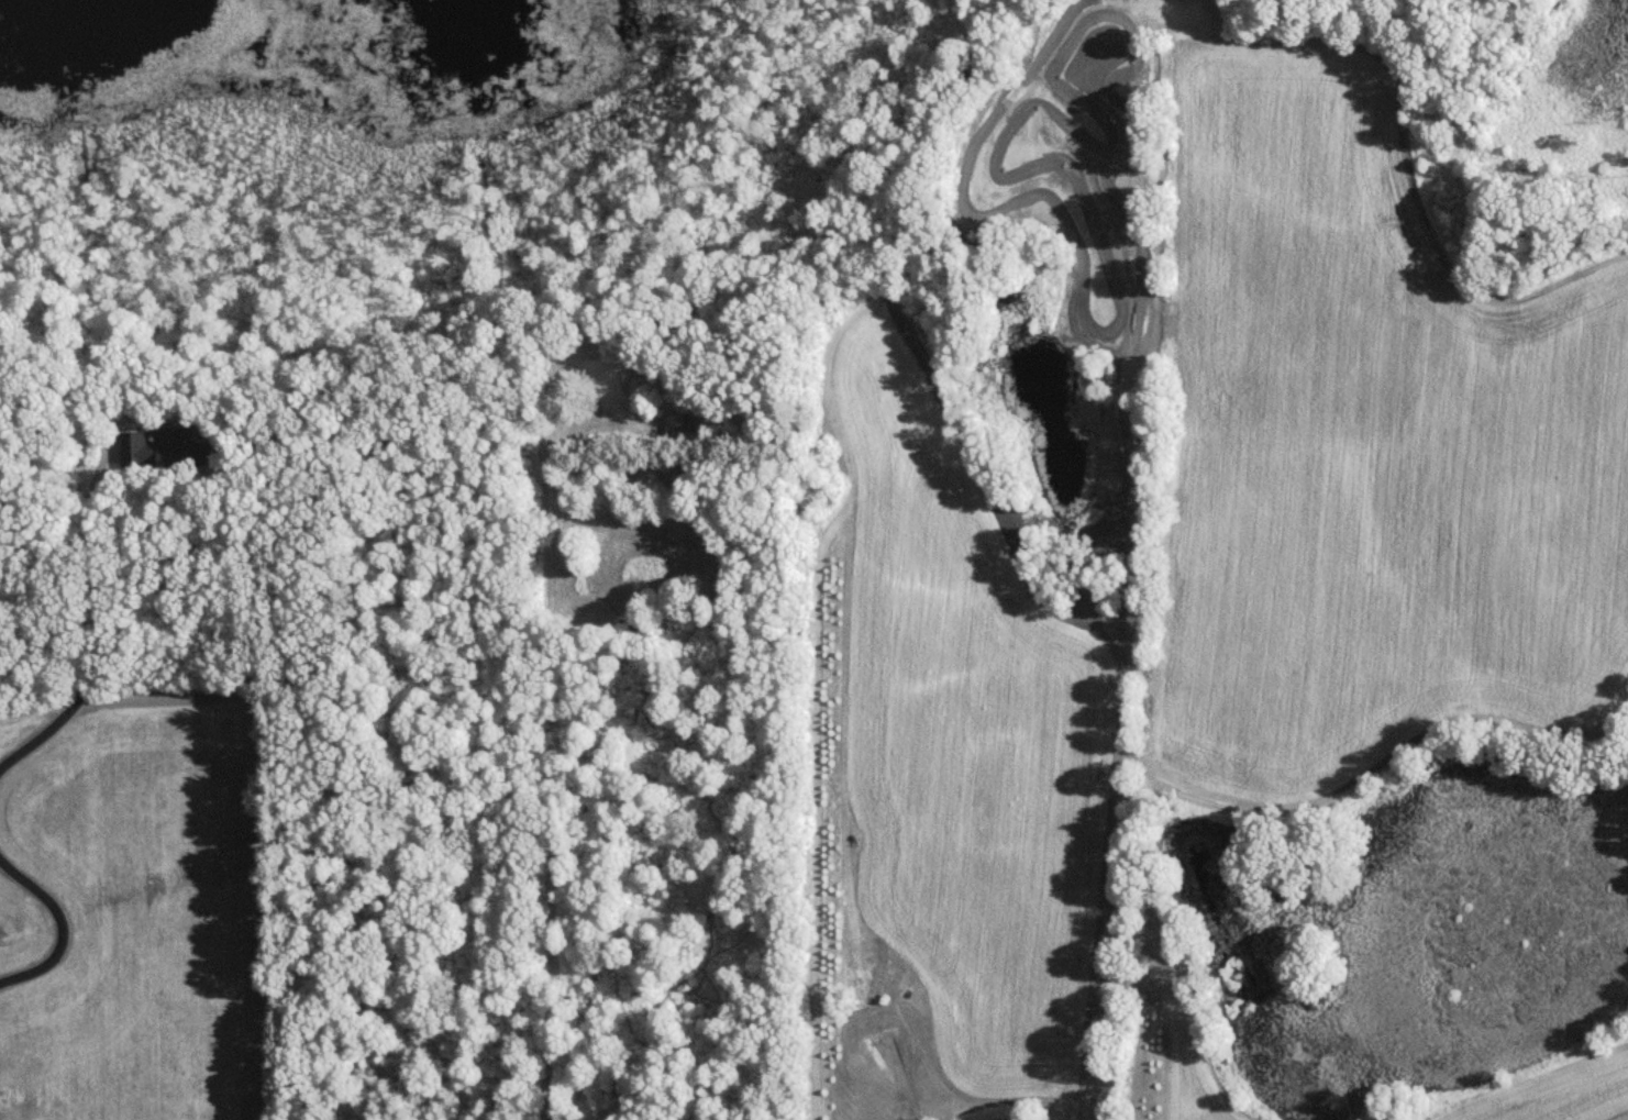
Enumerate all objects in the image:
building: (677, 426)
building: (169, 453)
road: (153, 491)
road: (89, 674)
road: (64, 924)

